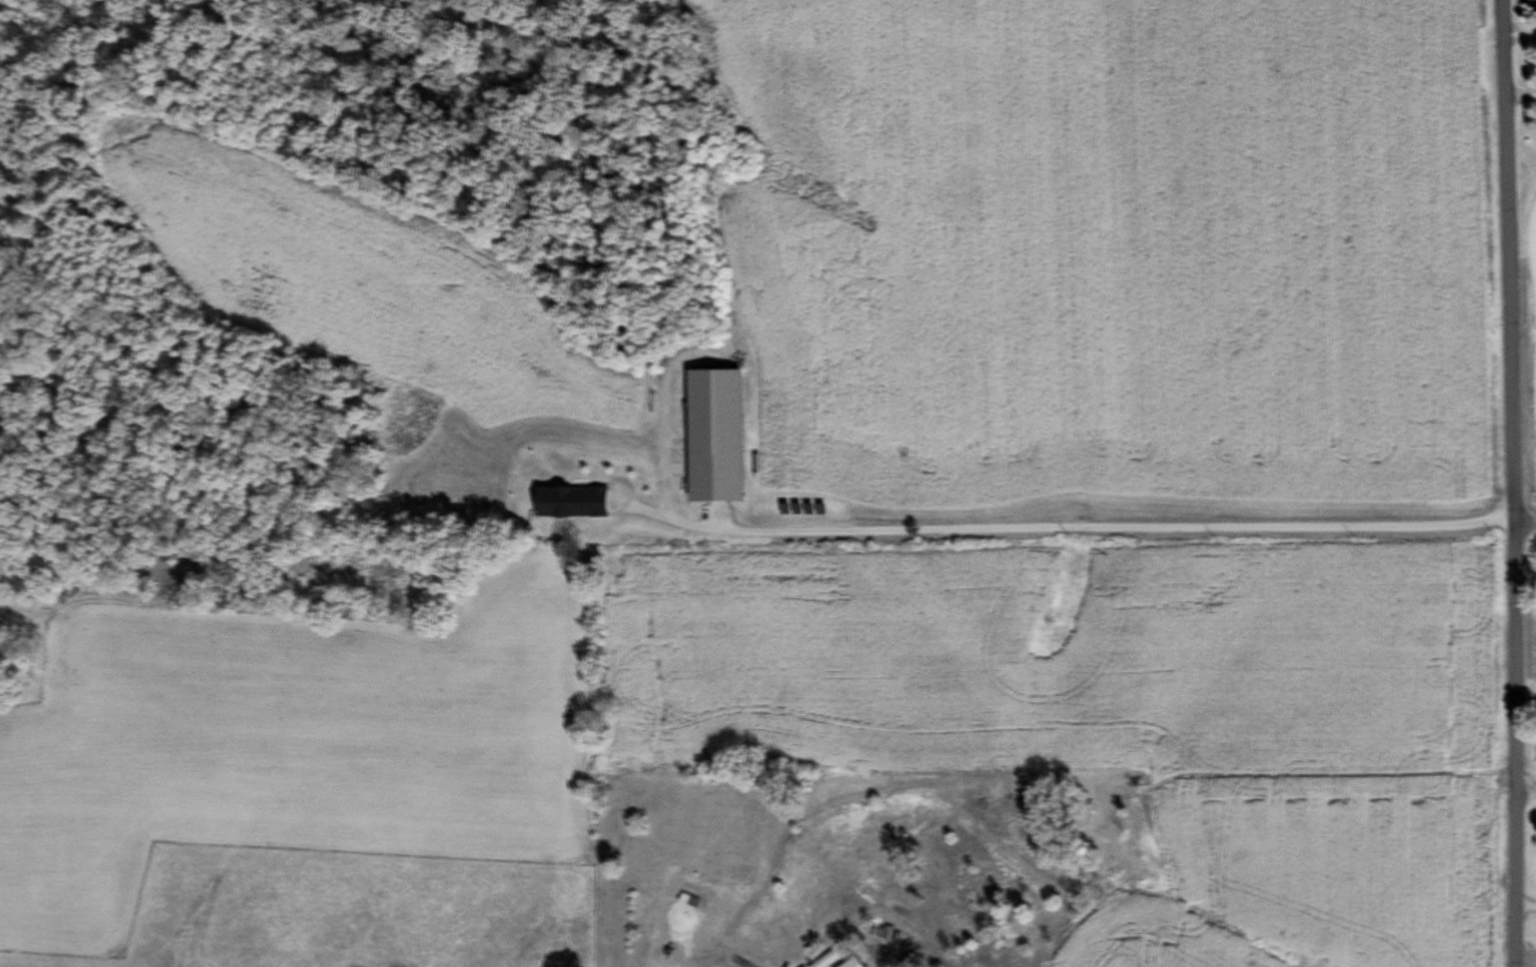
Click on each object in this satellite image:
road: (1511, 483)
road: (1062, 528)
road: (1524, 533)
building: (687, 901)
building: (831, 957)
building: (851, 963)
road: (740, 966)

